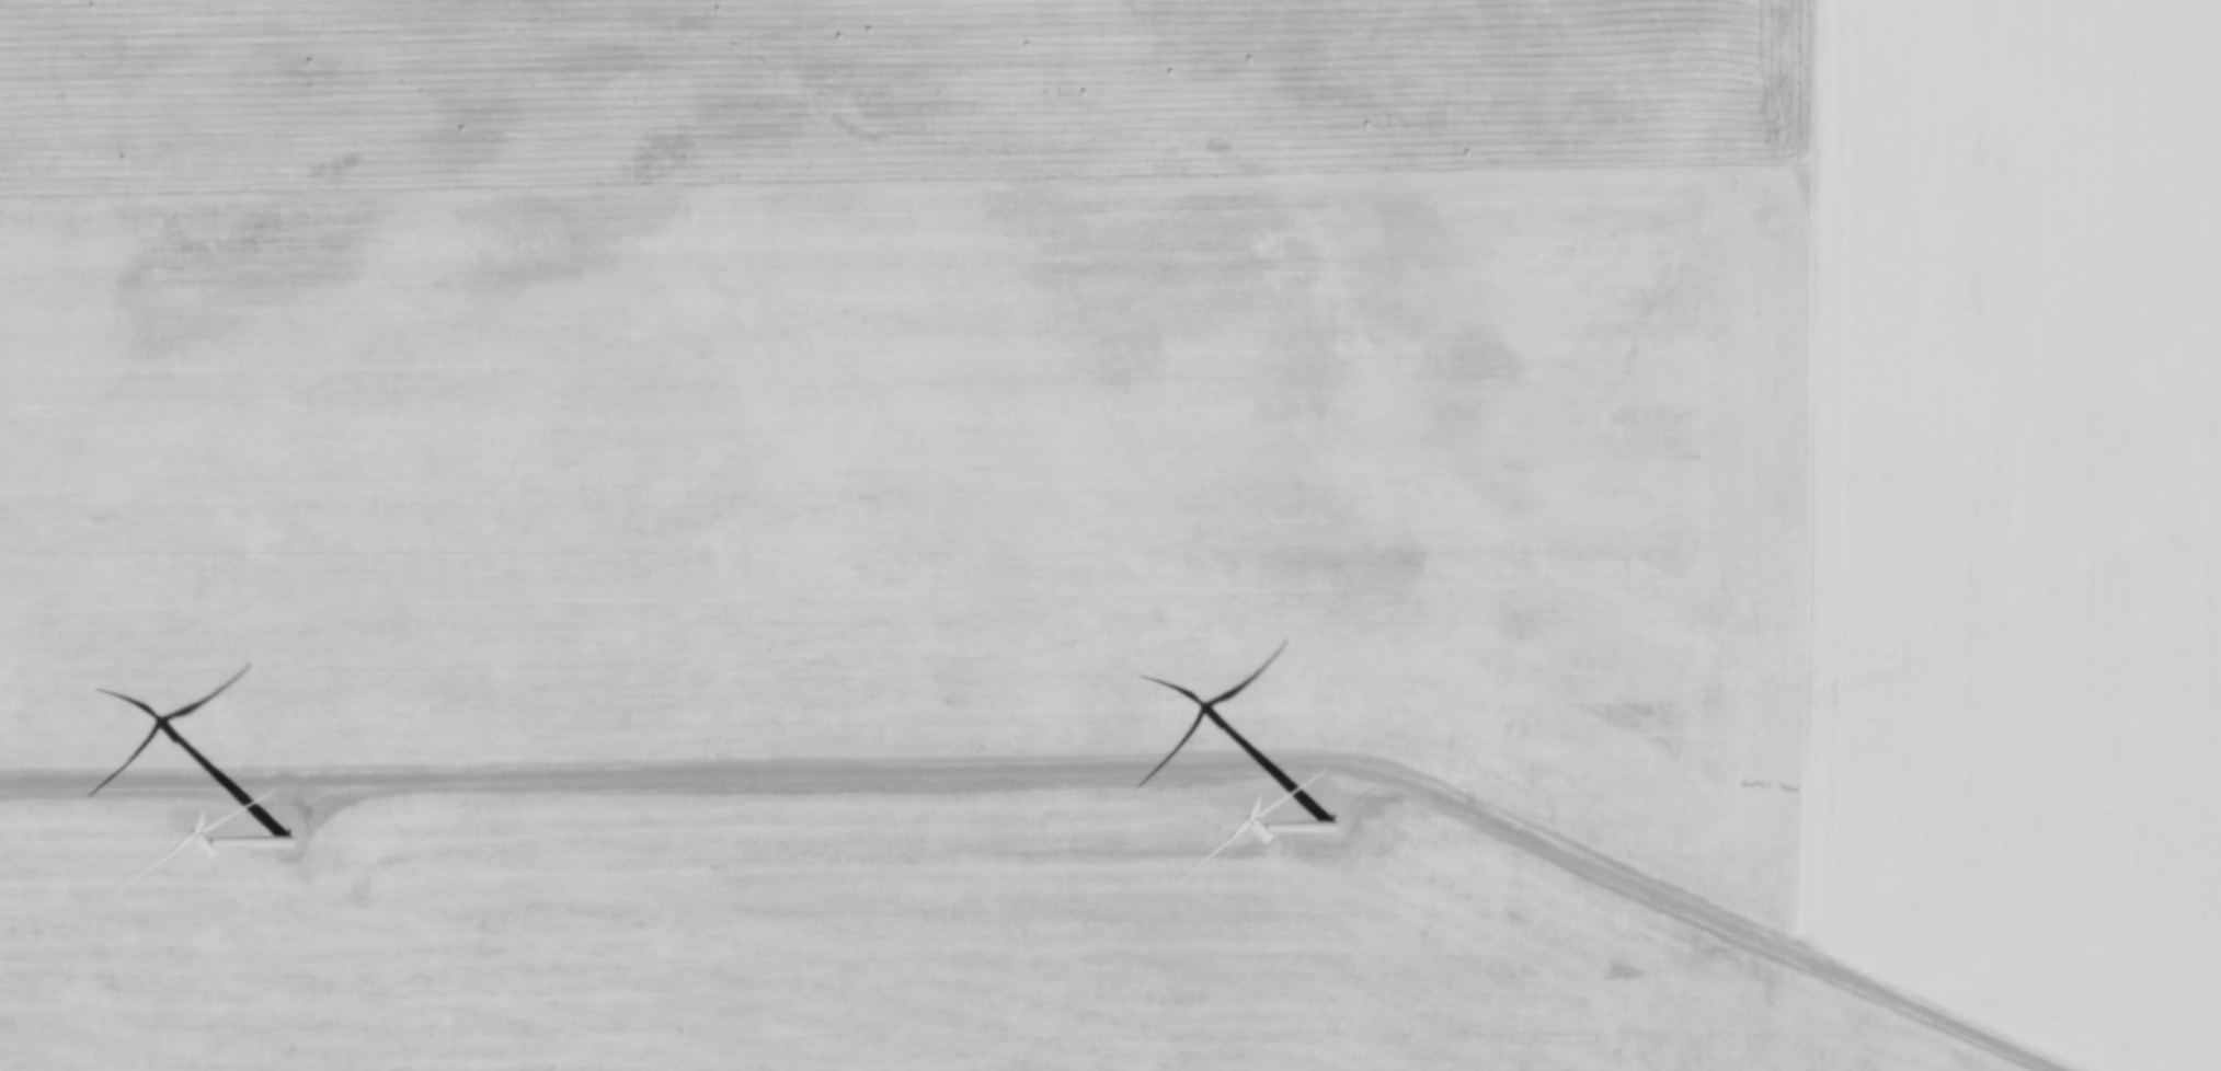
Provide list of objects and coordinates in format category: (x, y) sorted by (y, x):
road: (1077, 774)
wind turbine: (1313, 821)
wind turbine: (265, 830)

